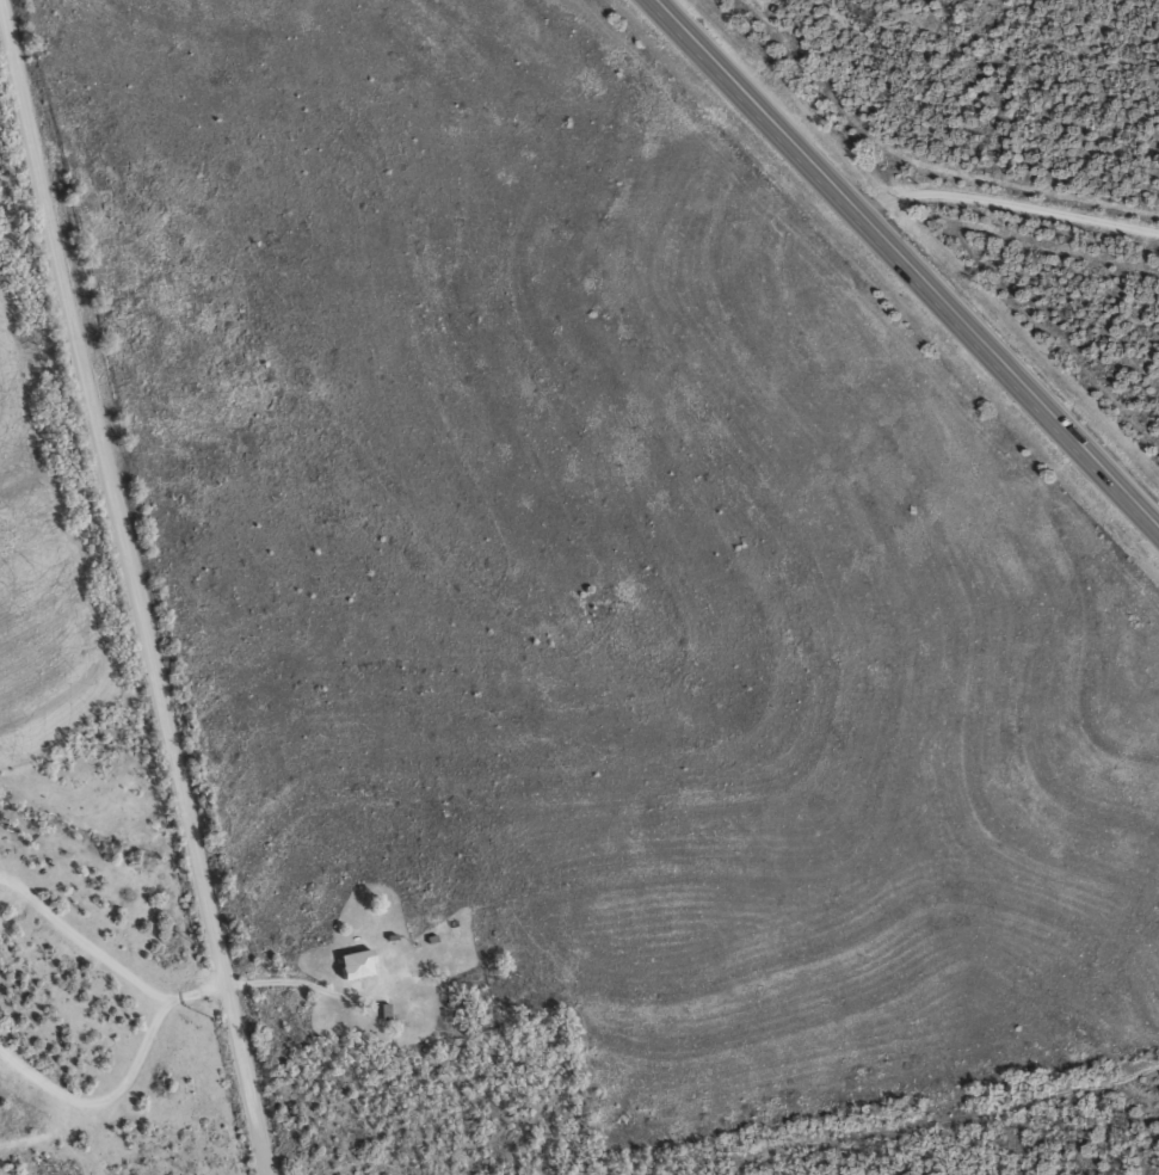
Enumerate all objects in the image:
road: (1006, 203)
road: (906, 265)
road: (152, 586)
building: (358, 962)

